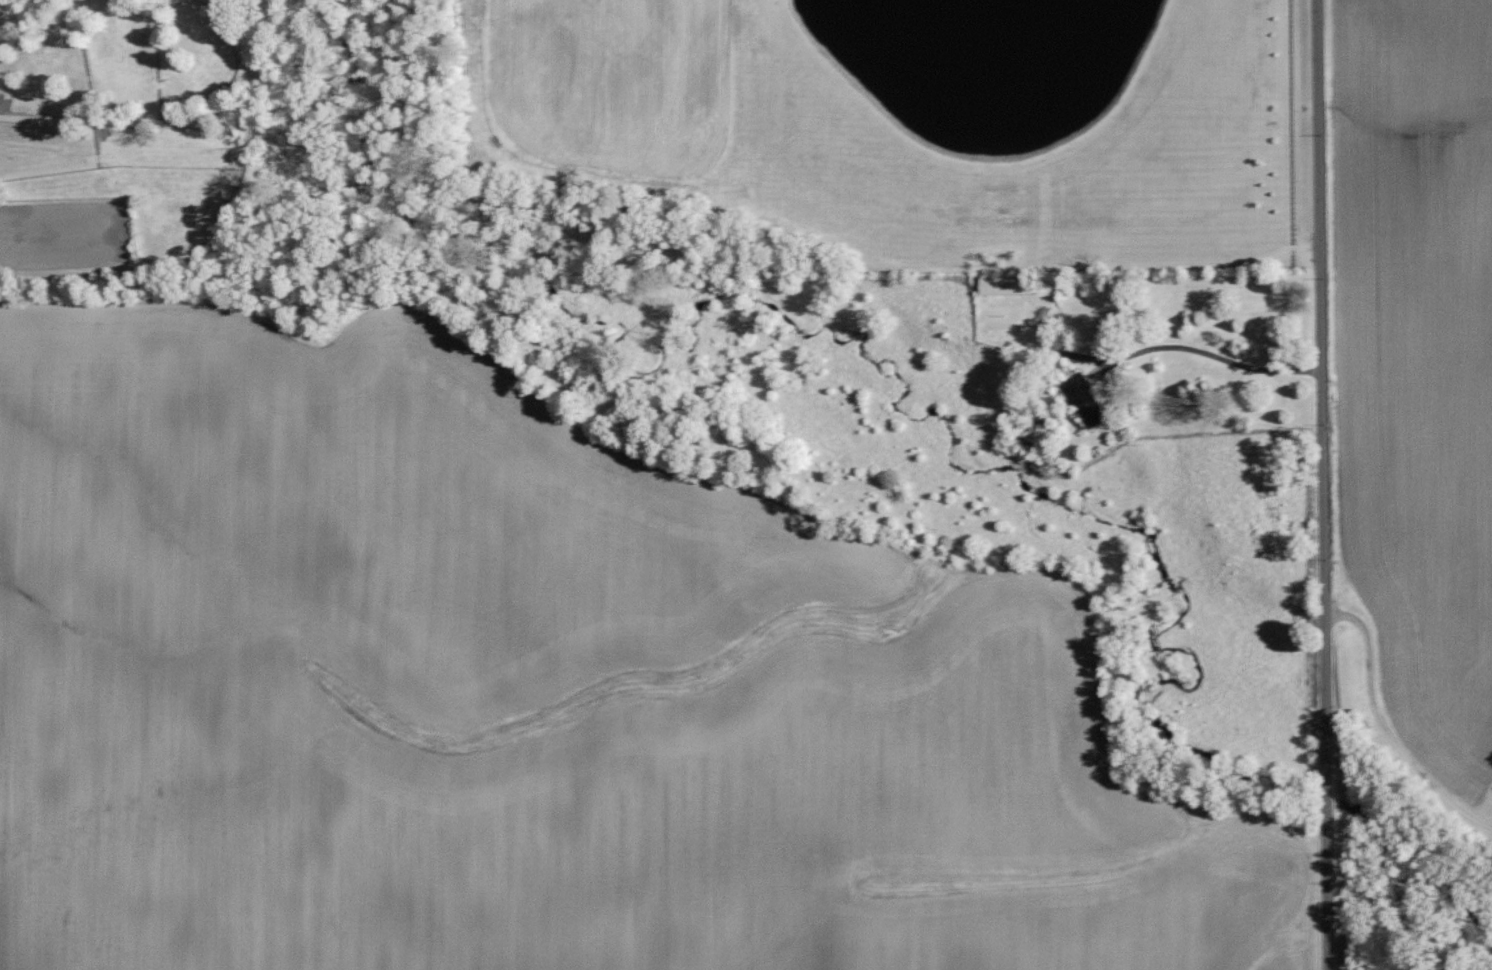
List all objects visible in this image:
building: (1011, 286)
road: (1214, 356)
building: (1089, 401)
road: (1329, 485)
road: (1389, 722)

